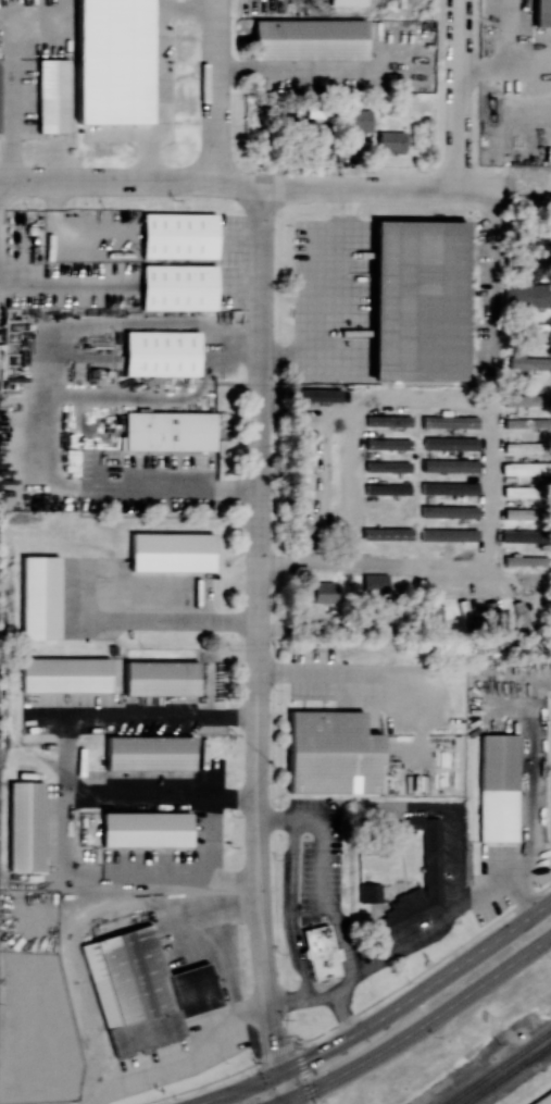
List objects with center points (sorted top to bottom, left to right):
building: (541, 13)
building: (309, 39)
road: (505, 64)
road: (216, 88)
building: (52, 96)
road: (461, 99)
road: (11, 102)
building: (356, 120)
building: (390, 140)
road: (242, 184)
road: (518, 201)
building: (177, 235)
building: (524, 260)
road: (494, 278)
building: (177, 286)
building: (527, 294)
building: (418, 300)
road: (340, 315)
building: (526, 328)
road: (59, 334)
road: (239, 343)
building: (161, 352)
building: (527, 360)
building: (309, 394)
road: (153, 398)
building: (526, 399)
building: (388, 420)
building: (449, 421)
building: (526, 423)
building: (168, 431)
building: (450, 443)
building: (388, 444)
building: (524, 447)
road: (488, 450)
building: (303, 451)
building: (387, 466)
building: (449, 466)
building: (525, 468)
building: (449, 487)
building: (387, 488)
road: (168, 489)
building: (522, 491)
building: (449, 511)
building: (521, 513)
road: (259, 535)
building: (522, 535)
building: (171, 551)
building: (526, 559)
building: (375, 583)
building: (325, 592)
building: (39, 596)
road: (167, 616)
building: (524, 621)
building: (65, 674)
building: (160, 678)
building: (149, 753)
building: (331, 753)
road: (68, 776)
building: (498, 787)
road: (162, 797)
building: (25, 826)
building: (146, 829)
building: (431, 856)
road: (235, 881)
building: (370, 892)
road: (223, 947)
building: (320, 952)
road: (425, 967)
road: (354, 970)
road: (264, 978)
road: (345, 981)
building: (141, 991)
road: (324, 995)
road: (383, 1017)
road: (421, 1028)
traffic signals: (273, 1045)
road: (298, 1051)
road: (183, 1052)
traffic signals: (306, 1062)
railway: (498, 1066)
railway: (506, 1072)
road: (217, 1079)
road: (273, 1089)
road: (279, 1089)

